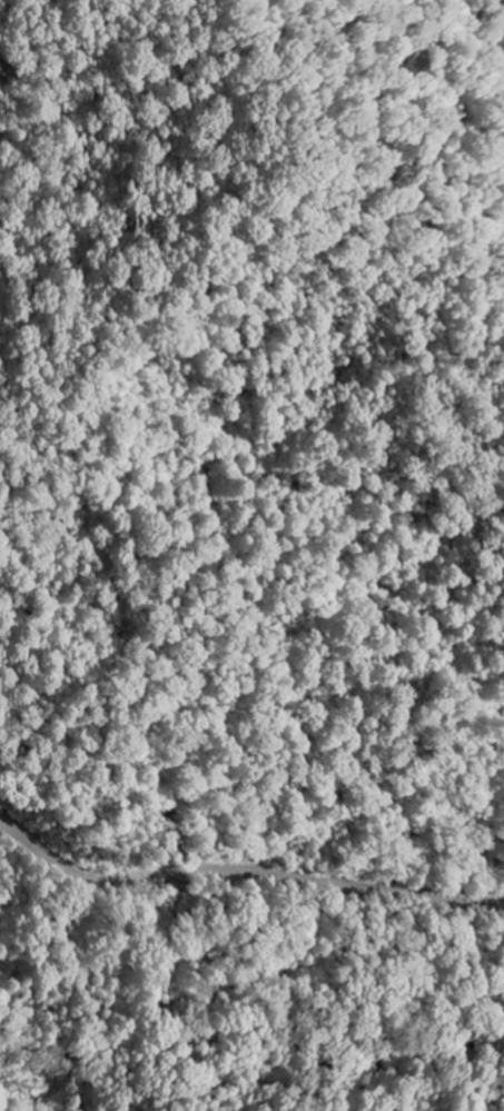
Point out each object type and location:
road: (241, 869)

